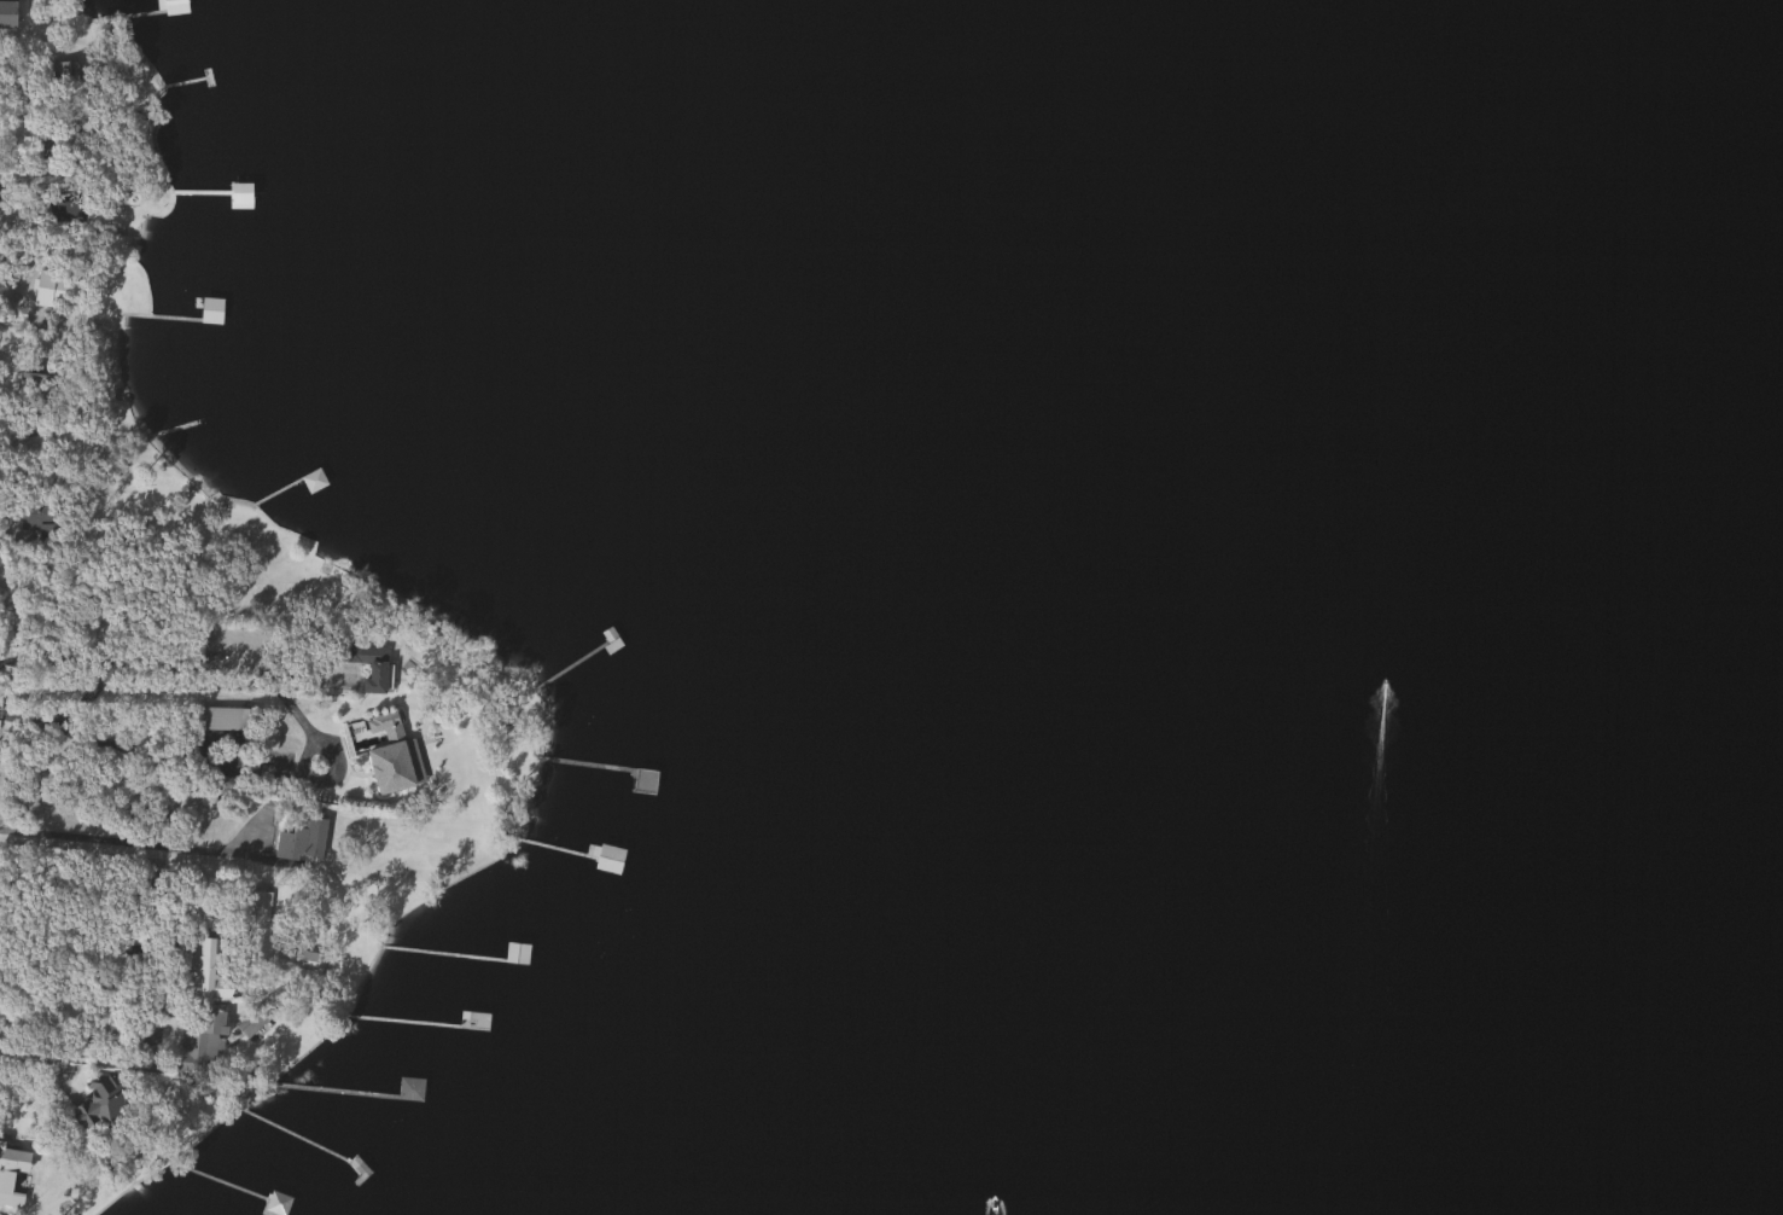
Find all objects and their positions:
building: (6, 13)
road: (19, 64)
building: (62, 76)
road: (12, 114)
river: (1702, 176)
building: (0, 191)
building: (65, 214)
building: (57, 289)
building: (210, 309)
building: (25, 447)
building: (368, 663)
building: (223, 719)
road: (307, 736)
building: (391, 755)
building: (301, 839)
road: (127, 842)
road: (75, 851)
building: (515, 953)
building: (292, 960)
building: (206, 966)
building: (198, 1041)
building: (408, 1088)
building: (101, 1101)
building: (11, 1163)

